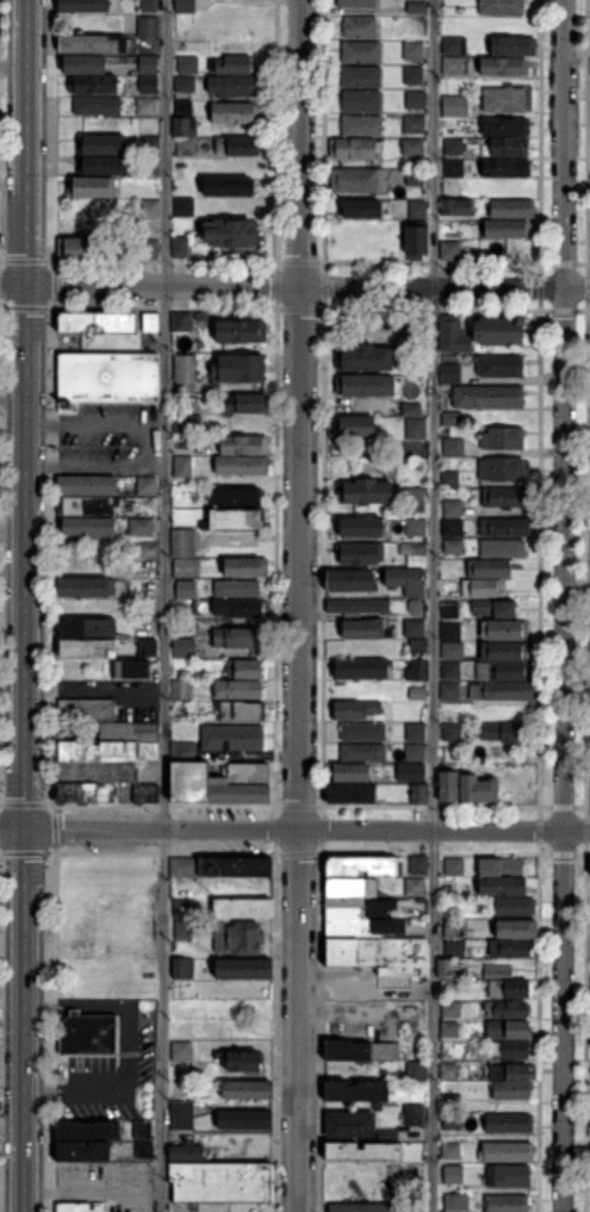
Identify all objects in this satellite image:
building: (355, 4)
building: (83, 6)
building: (148, 6)
building: (184, 6)
building: (415, 7)
building: (501, 7)
building: (148, 27)
building: (359, 29)
building: (92, 43)
building: (451, 45)
building: (511, 46)
building: (360, 51)
building: (411, 51)
road: (13, 64)
building: (83, 64)
building: (148, 64)
building: (187, 64)
building: (231, 66)
building: (451, 66)
building: (502, 67)
building: (412, 75)
building: (359, 76)
building: (184, 83)
building: (93, 85)
building: (148, 85)
building: (231, 86)
building: (360, 100)
building: (415, 100)
building: (503, 100)
building: (98, 106)
building: (145, 106)
building: (458, 106)
building: (182, 107)
building: (235, 113)
building: (414, 124)
building: (184, 126)
building: (360, 126)
building: (504, 128)
road: (25, 141)
road: (166, 142)
road: (300, 142)
road: (433, 143)
road: (564, 143)
building: (101, 144)
building: (149, 144)
building: (186, 147)
building: (237, 147)
building: (411, 147)
building: (453, 147)
building: (354, 148)
building: (509, 148)
building: (105, 164)
building: (149, 166)
building: (504, 167)
building: (452, 168)
building: (414, 178)
building: (356, 181)
building: (93, 187)
building: (229, 187)
building: (184, 206)
building: (455, 206)
building: (360, 207)
building: (410, 207)
building: (149, 209)
building: (509, 209)
building: (505, 229)
building: (231, 235)
building: (414, 241)
building: (180, 247)
building: (86, 248)
building: (148, 249)
building: (449, 250)
road: (12, 284)
road: (95, 284)
road: (232, 284)
road: (366, 285)
road: (498, 286)
road: (577, 287)
building: (95, 322)
building: (150, 322)
building: (181, 323)
building: (497, 330)
building: (240, 332)
building: (453, 336)
building: (365, 358)
building: (498, 365)
building: (237, 367)
building: (185, 369)
building: (451, 373)
building: (106, 379)
building: (364, 385)
building: (486, 396)
road: (12, 403)
building: (244, 404)
building: (410, 409)
building: (451, 417)
road: (93, 424)
building: (354, 424)
building: (187, 425)
building: (415, 428)
building: (502, 437)
parking lot: (107, 439)
building: (243, 446)
building: (453, 447)
road: (94, 462)
building: (242, 465)
building: (181, 468)
building: (501, 468)
building: (451, 479)
building: (86, 485)
building: (147, 485)
building: (364, 492)
building: (237, 497)
building: (505, 497)
building: (414, 499)
building: (91, 506)
building: (453, 509)
building: (236, 520)
building: (88, 526)
building: (143, 527)
building: (359, 527)
building: (415, 527)
building: (452, 527)
building: (504, 527)
building: (182, 540)
building: (411, 547)
building: (453, 547)
building: (502, 548)
building: (359, 554)
building: (416, 560)
building: (186, 566)
building: (246, 567)
building: (486, 568)
road: (12, 576)
building: (349, 579)
building: (405, 580)
building: (85, 588)
building: (235, 588)
building: (480, 588)
building: (184, 589)
building: (356, 607)
building: (416, 607)
building: (236, 608)
building: (495, 608)
building: (449, 610)
building: (86, 628)
building: (365, 628)
building: (414, 629)
building: (449, 630)
building: (503, 630)
building: (236, 636)
building: (145, 647)
building: (87, 648)
building: (417, 648)
building: (182, 649)
building: (452, 651)
building: (503, 652)
building: (241, 669)
building: (360, 669)
building: (131, 670)
building: (417, 670)
building: (451, 670)
building: (501, 670)
building: (144, 689)
building: (181, 689)
building: (237, 689)
road: (94, 690)
building: (449, 691)
building: (505, 691)
building: (416, 692)
building: (86, 709)
building: (353, 709)
building: (241, 710)
building: (508, 710)
building: (415, 711)
building: (449, 711)
building: (125, 731)
building: (361, 731)
building: (414, 731)
building: (451, 732)
building: (501, 733)
building: (232, 739)
road: (24, 747)
road: (163, 747)
road: (299, 747)
building: (181, 748)
road: (431, 748)
road: (564, 750)
building: (108, 751)
building: (361, 752)
building: (415, 752)
building: (410, 770)
building: (350, 772)
building: (98, 773)
building: (219, 784)
building: (448, 785)
building: (477, 788)
building: (133, 791)
building: (83, 793)
building: (349, 793)
building: (418, 794)
parking lot: (106, 812)
parking lot: (212, 814)
road: (12, 827)
road: (306, 828)
parking lot: (107, 846)
building: (499, 863)
building: (589, 863)
building: (417, 864)
building: (362, 865)
building: (452, 865)
building: (184, 866)
building: (232, 866)
building: (501, 885)
building: (350, 887)
building: (414, 887)
building: (511, 906)
building: (358, 907)
building: (180, 908)
building: (242, 908)
building: (362, 926)
building: (182, 928)
building: (453, 928)
building: (516, 930)
building: (237, 938)
building: (509, 947)
building: (454, 949)
building: (379, 955)
building: (182, 968)
building: (242, 969)
building: (449, 969)
building: (496, 971)
building: (508, 989)
road: (76, 1005)
building: (505, 1008)
building: (449, 1009)
building: (448, 1027)
building: (507, 1031)
building: (87, 1033)
building: (508, 1049)
building: (180, 1051)
building: (359, 1051)
building: (241, 1061)
parking lot: (108, 1070)
building: (415, 1070)
building: (447, 1071)
building: (509, 1071)
road: (116, 1089)
building: (246, 1090)
building: (355, 1090)
building: (513, 1090)
building: (449, 1101)
building: (377, 1106)
building: (412, 1114)
building: (180, 1115)
building: (240, 1119)
building: (451, 1121)
building: (507, 1123)
building: (349, 1124)
building: (87, 1130)
building: (142, 1130)
road: (12, 1135)
building: (386, 1135)
building: (81, 1150)
building: (143, 1150)
building: (185, 1151)
building: (361, 1151)
building: (452, 1151)
building: (505, 1152)
building: (452, 1174)
building: (507, 1175)
building: (221, 1182)
parking lot: (107, 1185)
building: (452, 1202)
building: (505, 1202)
road: (12, 1206)
building: (75, 1207)
building: (362, 1207)

